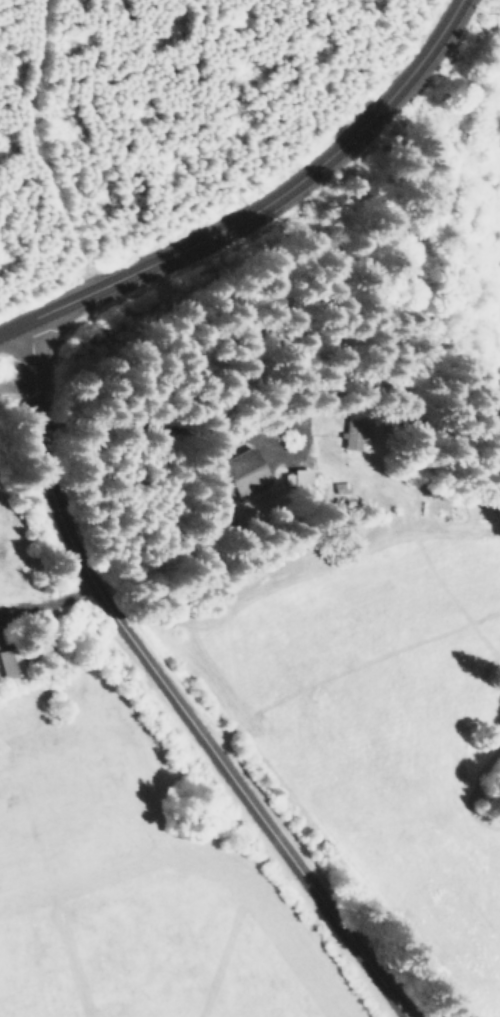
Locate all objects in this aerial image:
road: (256, 206)
building: (351, 435)
building: (242, 471)
building: (296, 484)
road: (43, 604)
building: (9, 663)
road: (165, 697)

